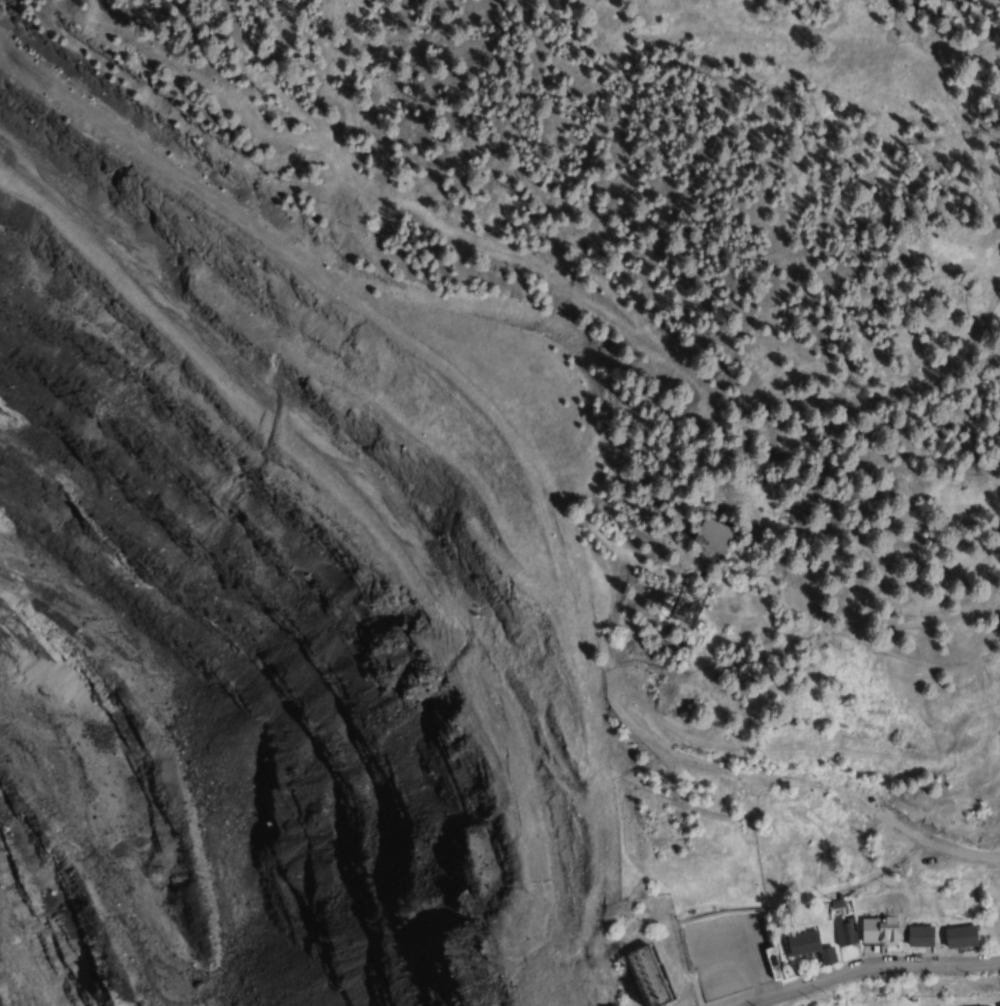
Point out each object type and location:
building: (709, 535)
quarry: (236, 642)
road: (729, 769)
road: (935, 844)
building: (876, 931)
building: (990, 931)
building: (842, 933)
building: (917, 936)
building: (956, 937)
building: (806, 946)
building: (724, 966)
road: (868, 968)
building: (641, 977)

